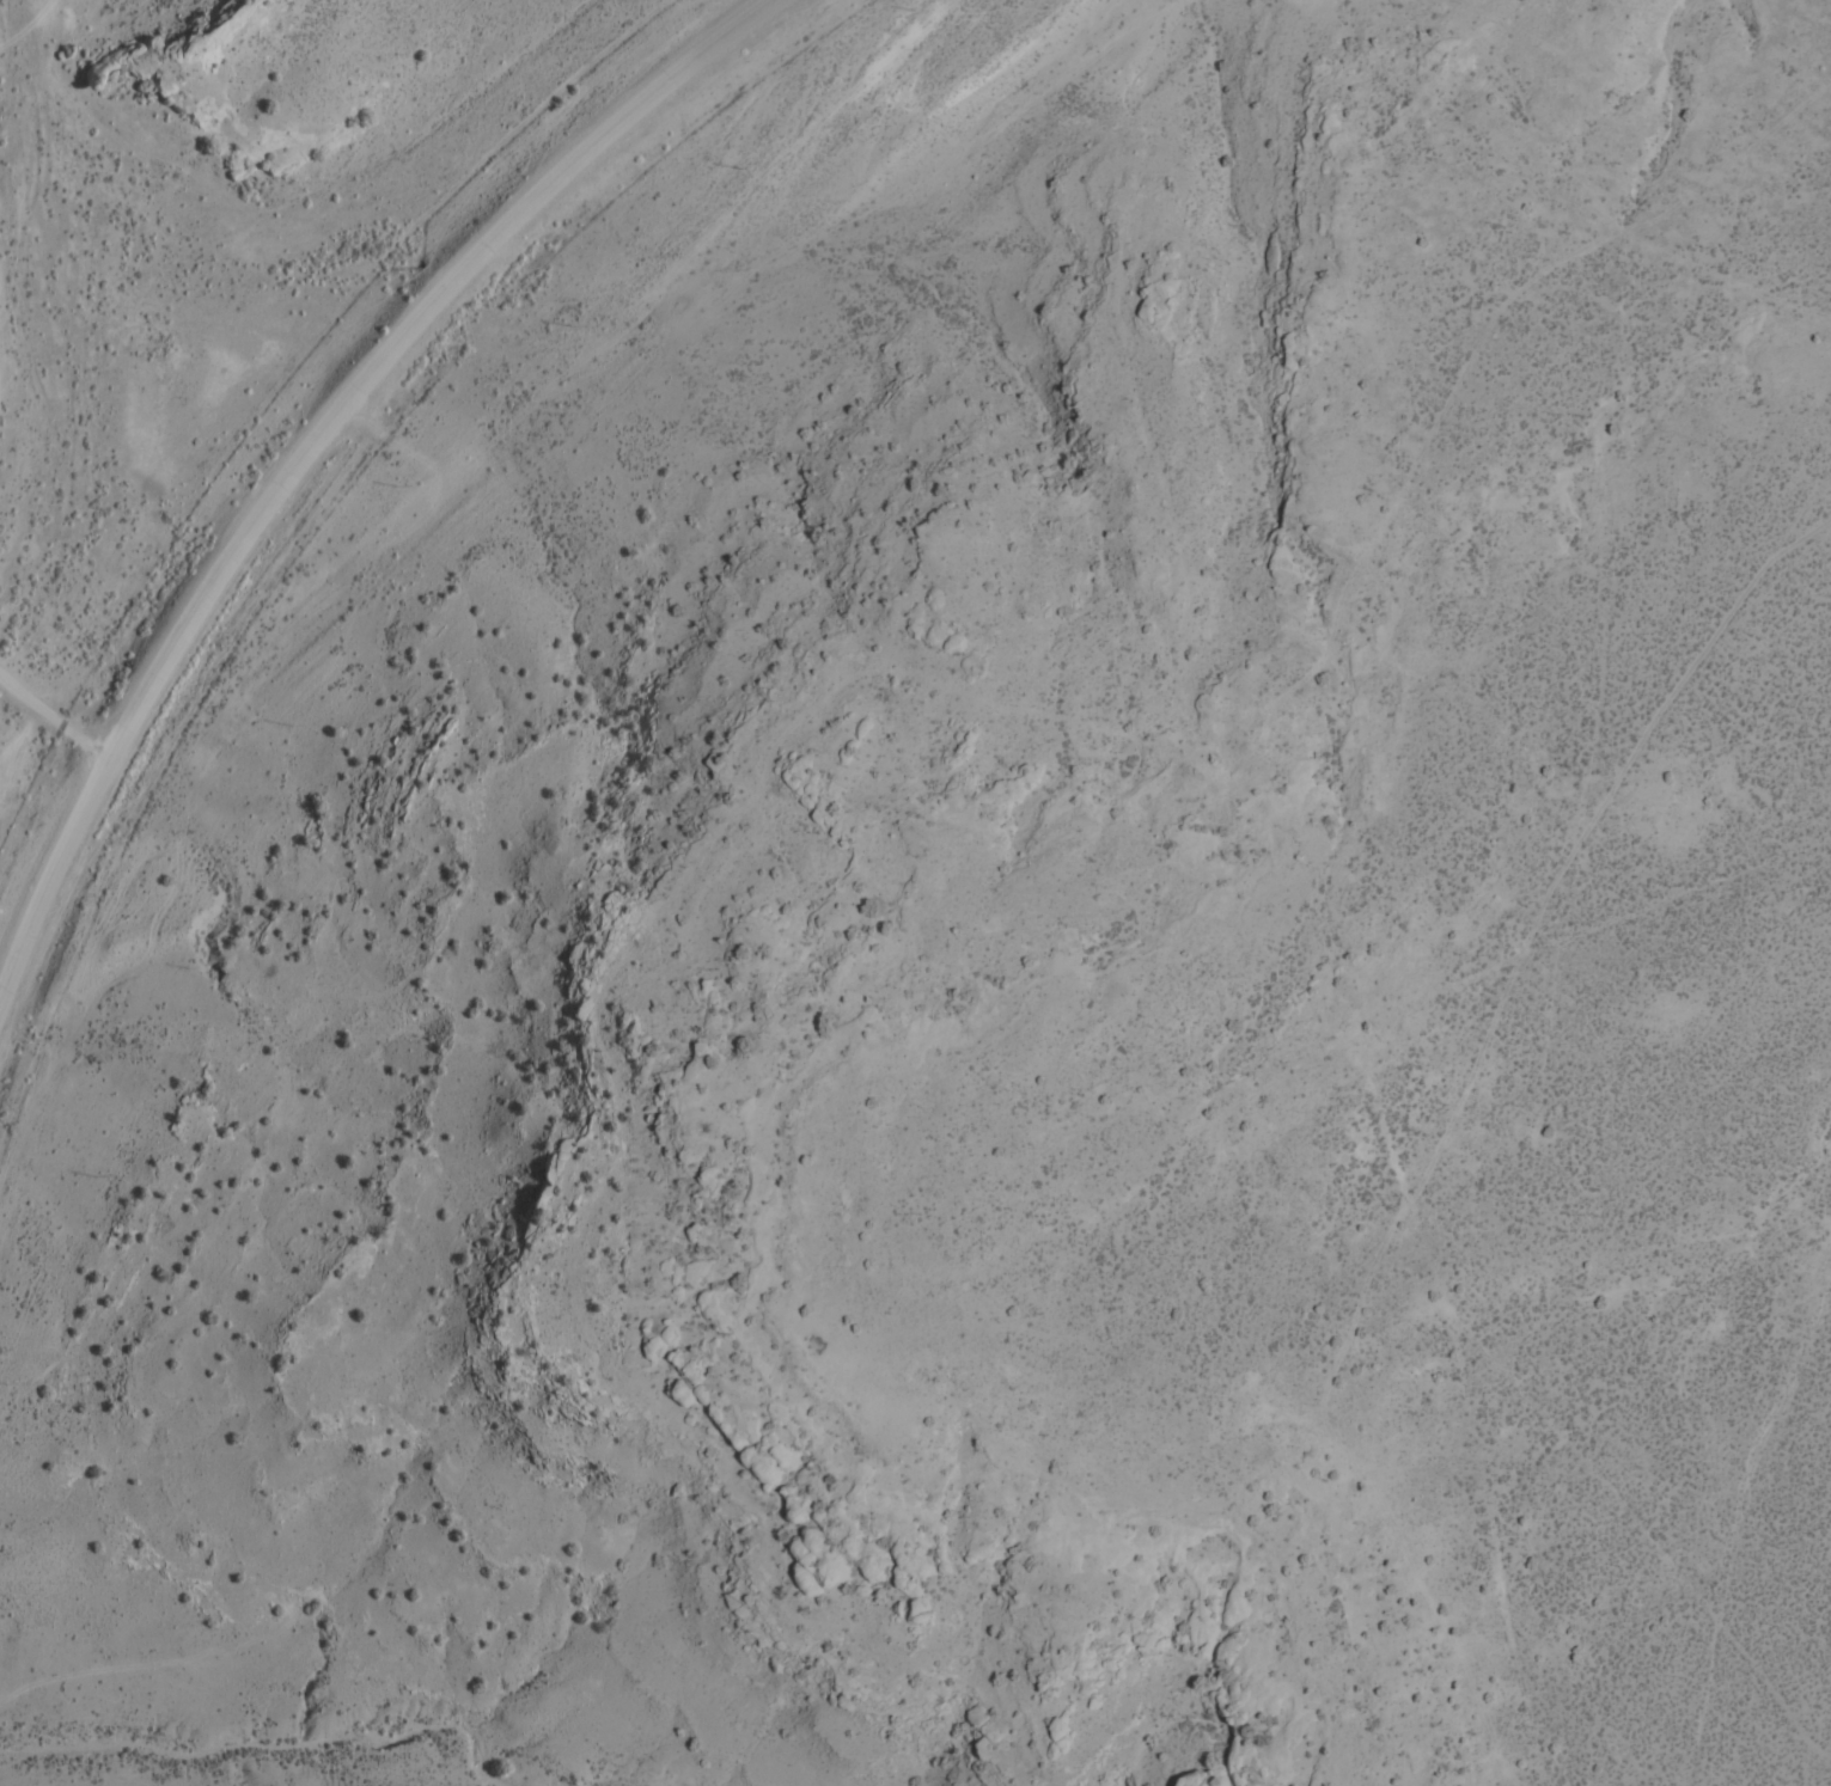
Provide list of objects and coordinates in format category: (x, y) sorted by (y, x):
road: (307, 439)
road: (50, 721)
road: (1812, 1766)

